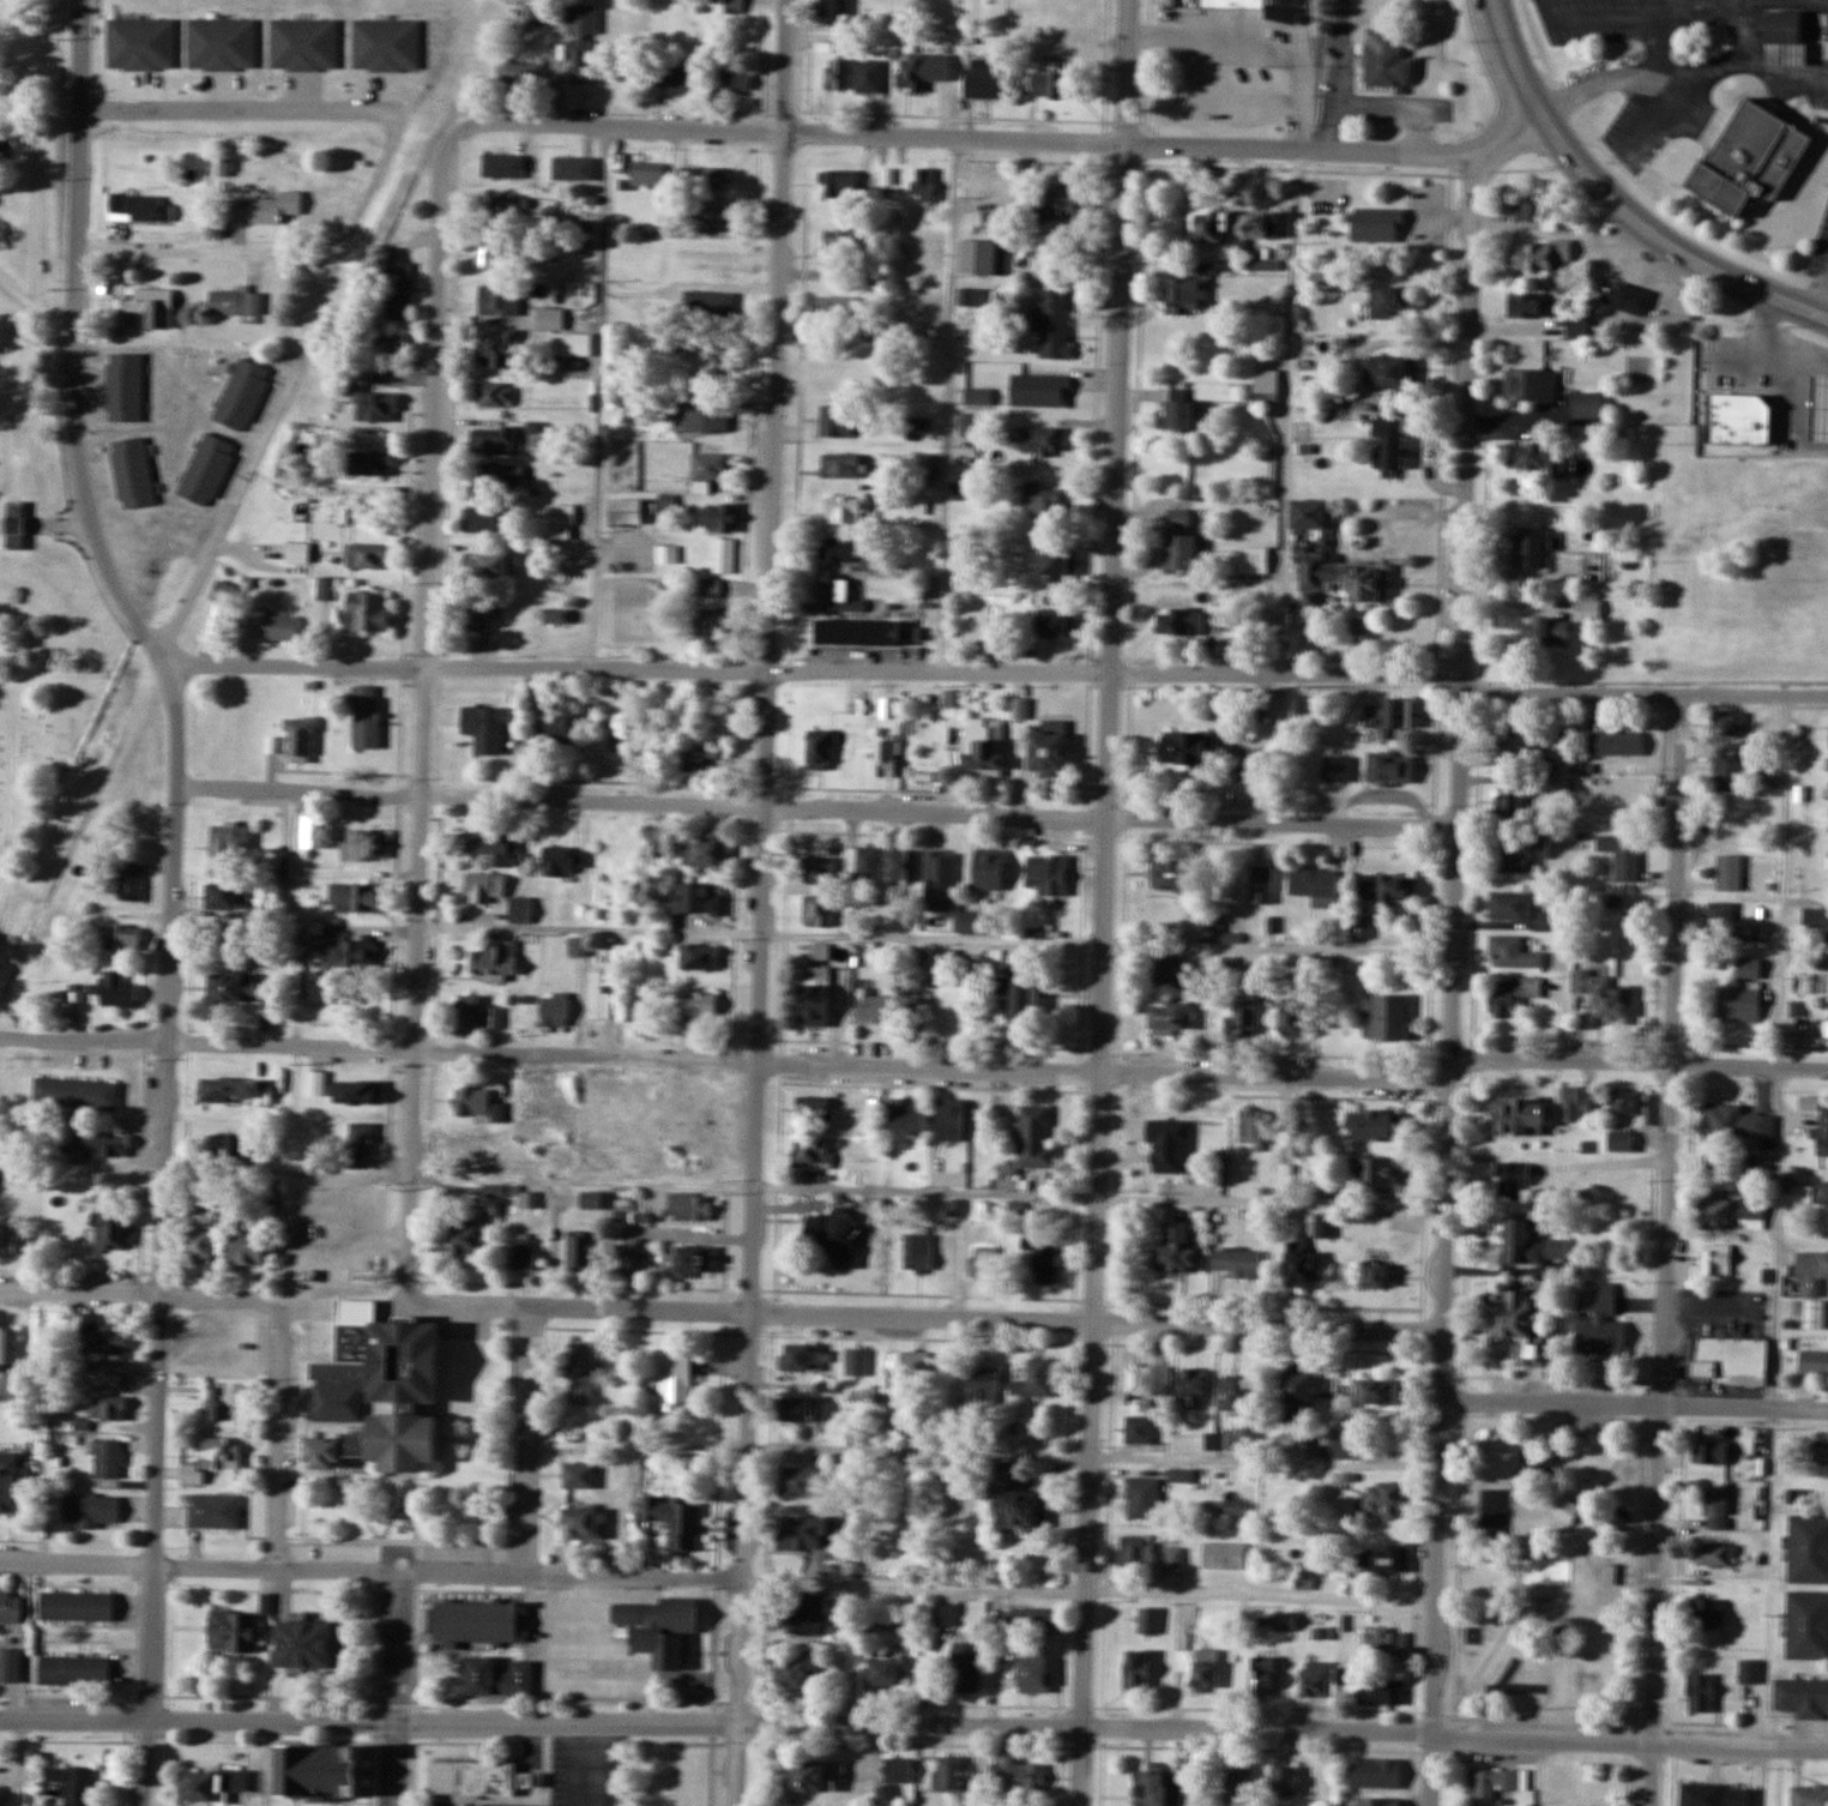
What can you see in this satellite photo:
building: (1278, 0)
building: (729, 6)
building: (834, 11)
road: (698, 13)
building: (1069, 23)
building: (1781, 28)
building: (580, 43)
building: (140, 44)
building: (221, 44)
building: (302, 44)
building: (384, 44)
building: (1386, 59)
building: (921, 71)
building: (834, 72)
building: (517, 74)
building: (867, 77)
building: (732, 78)
building: (671, 79)
building: (983, 84)
building: (1048, 86)
road: (243, 102)
road: (1063, 143)
park: (32, 148)
building: (1750, 159)
building: (617, 163)
building: (501, 164)
building: (225, 167)
building: (573, 168)
building: (645, 174)
building: (701, 177)
building: (838, 181)
building: (923, 185)
building: (1060, 201)
road: (1615, 201)
building: (139, 206)
building: (264, 207)
building: (502, 207)
road: (37, 209)
building: (713, 212)
building: (1540, 212)
building: (993, 218)
building: (1278, 223)
building: (1207, 224)
building: (1376, 224)
building: (841, 239)
building: (1539, 253)
building: (494, 254)
road: (203, 255)
building: (976, 255)
building: (1328, 281)
building: (1187, 291)
building: (398, 294)
building: (969, 296)
building: (1631, 297)
building: (497, 299)
building: (1388, 300)
building: (233, 301)
building: (707, 302)
building: (1525, 303)
building: (145, 307)
building: (837, 307)
road: (55, 313)
building: (548, 318)
road: (306, 324)
building: (1052, 324)
building: (1576, 325)
road: (19, 329)
building: (645, 338)
building: (571, 343)
building: (385, 345)
building: (496, 348)
building: (1305, 356)
building: (699, 365)
building: (1393, 372)
building: (1530, 384)
building: (123, 386)
building: (1039, 390)
building: (1731, 390)
building: (1263, 391)
building: (241, 393)
building: (494, 393)
building: (978, 396)
road: (593, 398)
building: (1586, 404)
building: (374, 405)
road: (951, 408)
building: (1341, 410)
building: (1178, 413)
road: (1290, 413)
building: (708, 419)
building: (834, 421)
building: (967, 425)
building: (1827, 435)
building: (491, 439)
building: (1042, 440)
building: (1387, 445)
building: (1539, 457)
building: (919, 460)
building: (368, 463)
building: (840, 464)
building: (206, 469)
building: (706, 469)
building: (131, 471)
building: (496, 475)
building: (1039, 500)
building: (666, 501)
building: (843, 510)
building: (626, 511)
building: (561, 513)
building: (1308, 514)
building: (722, 516)
building: (478, 518)
building: (13, 525)
road: (65, 529)
road: (771, 531)
building: (1180, 540)
building: (1526, 546)
building: (835, 548)
building: (295, 550)
building: (665, 553)
building: (366, 554)
building: (723, 554)
building: (1061, 559)
building: (488, 565)
building: (1343, 578)
building: (326, 586)
building: (710, 586)
building: (837, 594)
building: (1588, 609)
building: (366, 610)
park: (42, 612)
building: (554, 615)
building: (477, 616)
building: (1181, 620)
building: (1054, 622)
building: (711, 624)
building: (267, 625)
building: (1544, 630)
building: (857, 631)
road: (283, 667)
road: (942, 675)
road: (1641, 699)
building: (364, 715)
building: (1388, 716)
building: (1727, 722)
building: (485, 727)
building: (559, 732)
building: (297, 738)
building: (1613, 742)
building: (1515, 744)
building: (1048, 747)
building: (1182, 747)
building: (819, 748)
building: (985, 752)
building: (704, 755)
building: (883, 757)
road: (14, 758)
building: (1260, 764)
building: (1389, 767)
building: (1727, 773)
road: (295, 797)
building: (1512, 802)
road: (420, 806)
road: (937, 815)
building: (308, 830)
building: (654, 838)
building: (229, 841)
building: (361, 844)
building: (495, 847)
building: (1520, 850)
building: (702, 851)
building: (1622, 854)
building: (562, 859)
building: (862, 861)
building: (1827, 862)
building: (901, 866)
building: (989, 868)
building: (1727, 872)
building: (820, 873)
building: (1170, 874)
building: (1049, 875)
building: (940, 878)
building: (1260, 879)
building: (129, 881)
building: (1314, 885)
building: (484, 886)
building: (1382, 886)
road: (168, 892)
building: (221, 896)
building: (355, 898)
building: (695, 899)
building: (1611, 901)
road: (1106, 903)
building: (1516, 909)
building: (519, 910)
building: (818, 910)
building: (1720, 915)
building: (1359, 926)
building: (1815, 926)
building: (1217, 929)
building: (1752, 929)
building: (119, 937)
building: (662, 945)
building: (575, 946)
building: (350, 951)
building: (820, 951)
building: (617, 952)
building: (1512, 952)
building: (699, 957)
building: (493, 958)
building: (1323, 963)
building: (1229, 967)
building: (1749, 967)
building: (1169, 971)
road: (1449, 980)
building: (230, 987)
building: (1020, 988)
building: (114, 989)
building: (1510, 993)
building: (1603, 995)
building: (598, 998)
building: (814, 998)
building: (1740, 1000)
building: (696, 1003)
building: (871, 1005)
building: (554, 1010)
building: (467, 1013)
building: (1242, 1013)
building: (1388, 1015)
building: (1166, 1017)
building: (1289, 1019)
road: (206, 1045)
road: (1637, 1065)
road: (931, 1067)
building: (314, 1082)
building: (227, 1089)
building: (269, 1089)
building: (356, 1091)
building: (74, 1092)
building: (541, 1095)
building: (1588, 1097)
building: (470, 1100)
building: (1622, 1101)
building: (1571, 1103)
building: (1809, 1103)
building: (693, 1104)
building: (812, 1108)
building: (496, 1112)
building: (905, 1115)
building: (1516, 1115)
building: (949, 1119)
building: (1735, 1121)
building: (1372, 1125)
building: (1250, 1127)
building: (1821, 1134)
building: (1033, 1137)
building: (1621, 1140)
building: (358, 1143)
building: (463, 1144)
building: (96, 1145)
building: (239, 1148)
building: (696, 1150)
building: (813, 1150)
building: (1374, 1175)
building: (1512, 1180)
building: (272, 1188)
building: (495, 1190)
building: (1822, 1193)
building: (532, 1197)
building: (590, 1199)
building: (688, 1206)
building: (1735, 1211)
building: (344, 1226)
building: (1323, 1226)
building: (109, 1229)
building: (7, 1235)
building: (201, 1236)
building: (465, 1236)
building: (834, 1239)
building: (245, 1244)
building: (1530, 1245)
building: (1175, 1250)
building: (580, 1251)
building: (523, 1252)
building: (916, 1252)
road: (1667, 1252)
building: (1040, 1257)
building: (1717, 1258)
building: (689, 1262)
building: (1237, 1262)
building: (981, 1263)
building: (1298, 1263)
building: (631, 1264)
building: (1375, 1275)
building: (1812, 1286)
road: (204, 1300)
road: (752, 1314)
building: (1599, 1323)
building: (1519, 1325)
road: (1269, 1329)
building: (98, 1336)
building: (8, 1347)
building: (796, 1356)
building: (1731, 1359)
building: (855, 1361)
building: (1812, 1361)
building: (905, 1372)
building: (104, 1373)
building: (580, 1375)
building: (1033, 1379)
building: (1147, 1379)
building: (675, 1381)
building: (984, 1387)
building: (1193, 1387)
building: (1296, 1390)
building: (1238, 1391)
building: (1377, 1391)
building: (336, 1401)
road: (1634, 1402)
building: (218, 1403)
building: (107, 1408)
building: (794, 1409)
building: (638, 1415)
building: (1138, 1428)
building: (1244, 1429)
road: (746, 1434)
road: (279, 1437)
road: (529, 1440)
building: (402, 1441)
building: (1317, 1446)
building: (1350, 1447)
building: (324, 1451)
building: (1818, 1451)
building: (1709, 1452)
road: (1649, 1453)
building: (211, 1458)
building: (108, 1459)
building: (578, 1475)
building: (1180, 1475)
road: (1458, 1480)
building: (800, 1482)
building: (10, 1485)
building: (1142, 1498)
building: (1386, 1499)
building: (1714, 1500)
road: (1555, 1501)
building: (1571, 1501)
building: (1016, 1507)
building: (89, 1510)
building: (212, 1511)
building: (1611, 1518)
building: (676, 1521)
building: (579, 1524)
building: (800, 1534)
building: (1809, 1547)
building: (1135, 1551)
park: (1546, 1554)
building: (1713, 1554)
building: (1223, 1557)
building: (1174, 1558)
building: (1386, 1559)
road: (1510, 1565)
road: (198, 1569)
building: (1606, 1575)
road: (915, 1584)
building: (10, 1606)
building: (74, 1606)
building: (1707, 1614)
building: (806, 1615)
building: (945, 1615)
building: (473, 1621)
building: (1032, 1621)
building: (1148, 1621)
building: (1284, 1621)
building: (1806, 1624)
building: (659, 1629)
building: (233, 1631)
building: (1384, 1643)
building: (303, 1645)
building: (10, 1648)
building: (965, 1666)
building: (1200, 1668)
building: (72, 1670)
building: (798, 1672)
building: (883, 1672)
building: (1032, 1672)
building: (1136, 1672)
building: (1749, 1672)
building: (1262, 1675)
building: (497, 1678)
building: (1315, 1679)
road: (393, 1688)
building: (1382, 1691)
building: (1701, 1693)
building: (1802, 1694)
road: (195, 1722)
road: (1110, 1730)
building: (315, 1774)
building: (1375, 1774)
building: (948, 1775)
building: (894, 1776)
building: (807, 1777)
building: (1015, 1777)
building: (479, 1778)
building: (1284, 1778)
building: (1494, 1782)
building: (1236, 1783)
building: (71, 1784)
building: (209, 1784)
building: (1158, 1789)
building: (1701, 1794)
building: (1809, 1795)
building: (1742, 1796)
building: (1377, 1802)

